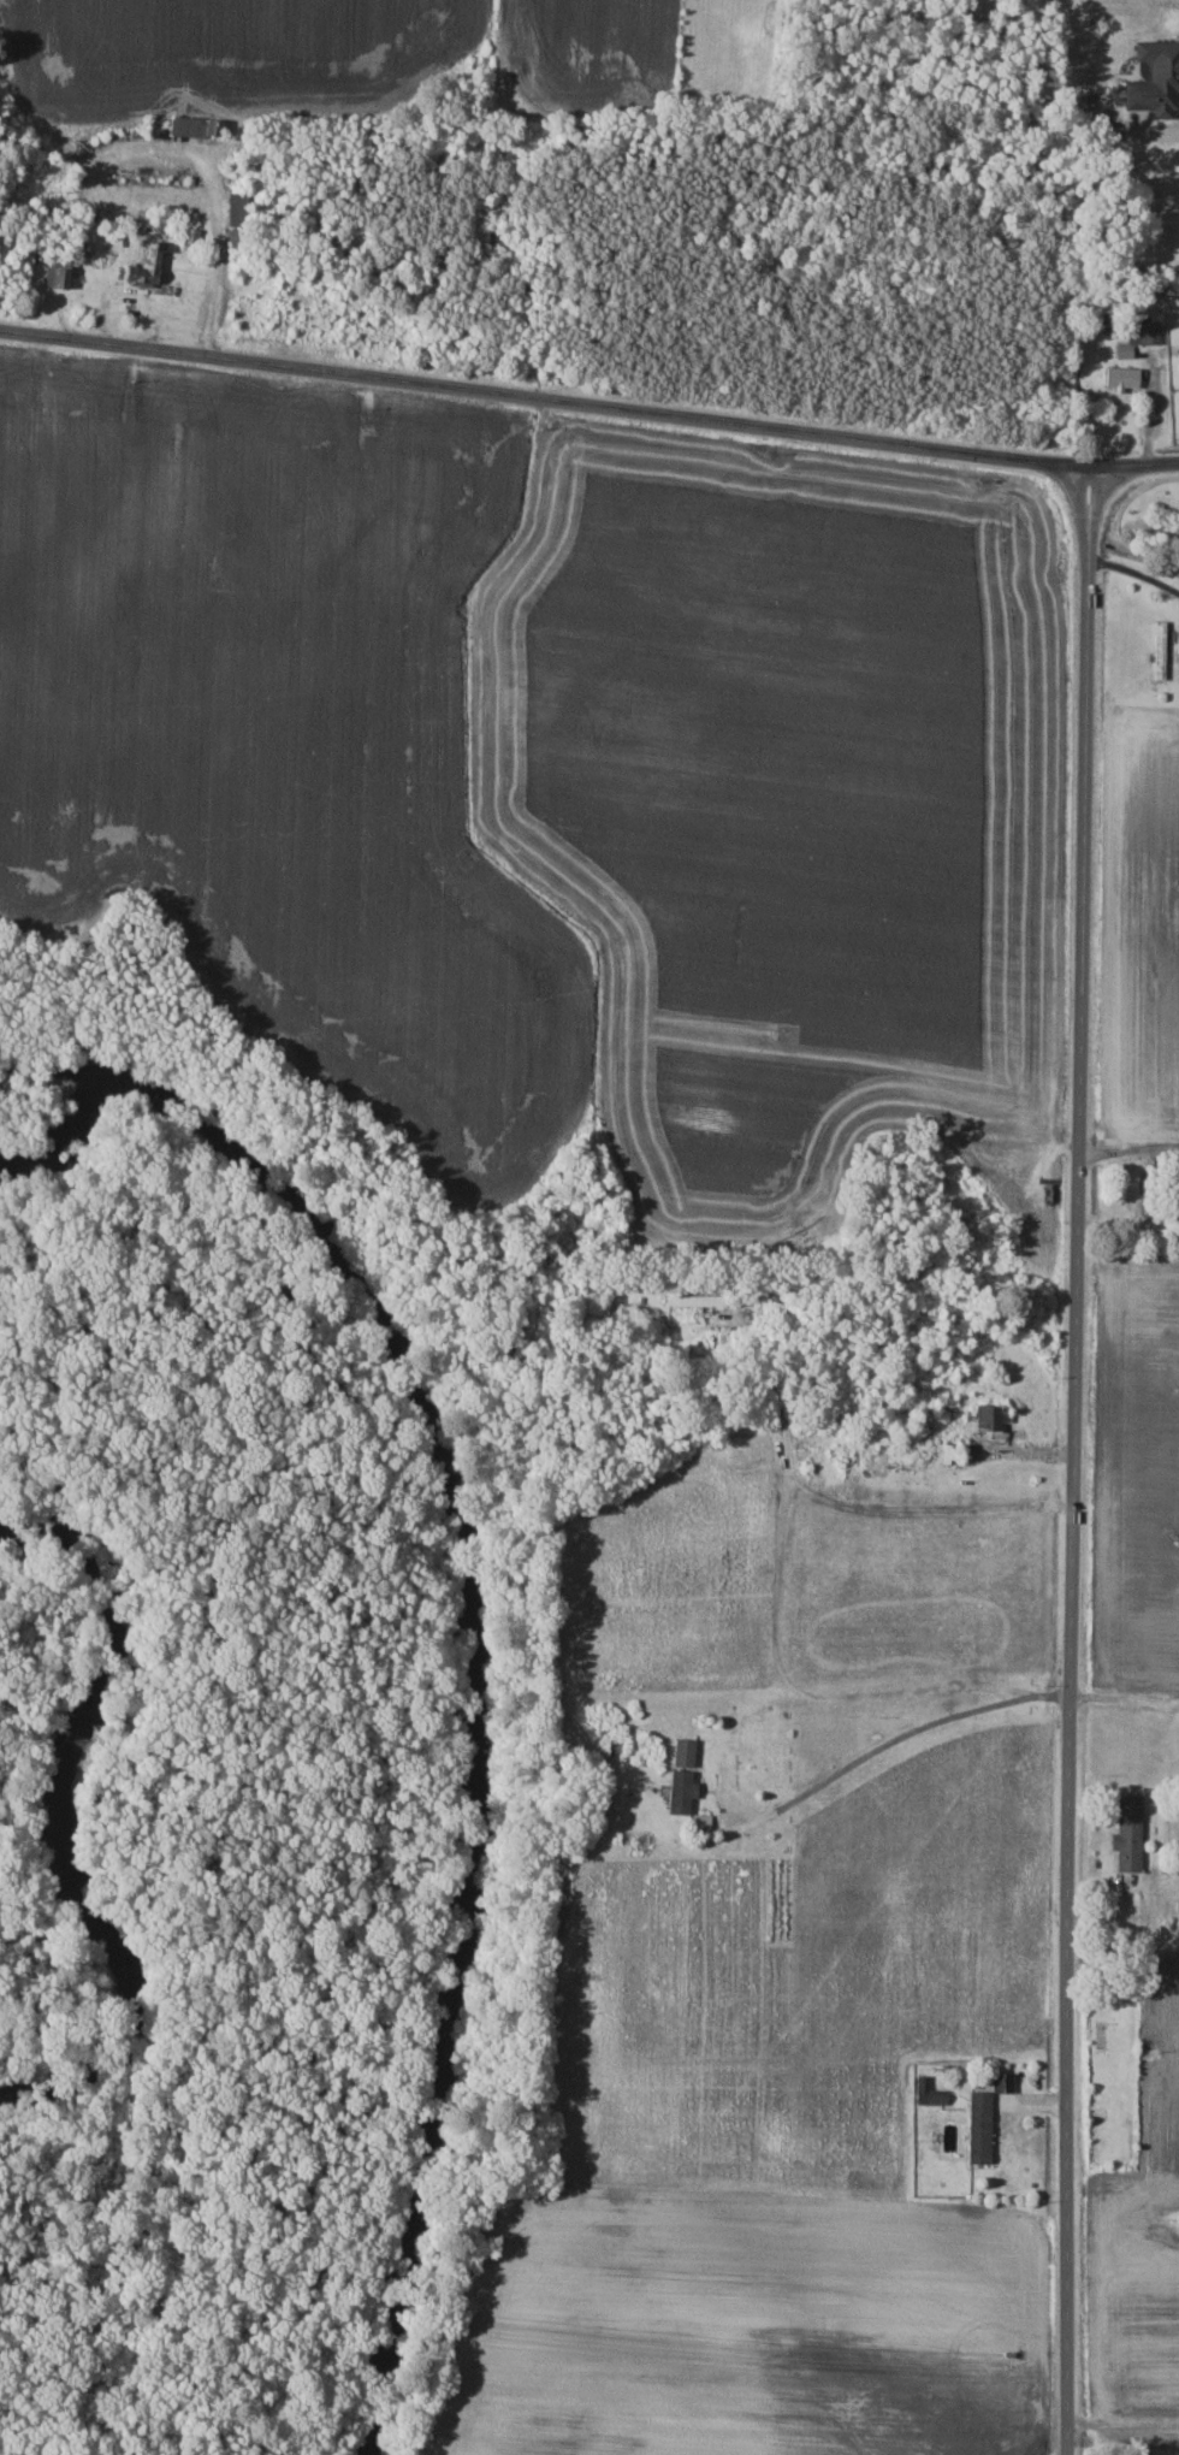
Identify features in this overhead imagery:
building: (1157, 79)
building: (195, 128)
building: (241, 211)
building: (147, 267)
building: (58, 278)
building: (1145, 336)
building: (1124, 379)
road: (588, 403)
road: (1136, 572)
building: (1159, 651)
road: (1130, 1150)
building: (1143, 1194)
building: (695, 1301)
building: (895, 1374)
building: (946, 1403)
building: (994, 1418)
road: (1074, 1459)
river: (481, 1620)
road: (1124, 1696)
road: (914, 1729)
building: (686, 1753)
building: (682, 1792)
river: (67, 1832)
building: (1130, 1834)
building: (1005, 2082)
building: (982, 2128)
road: (1121, 2420)

